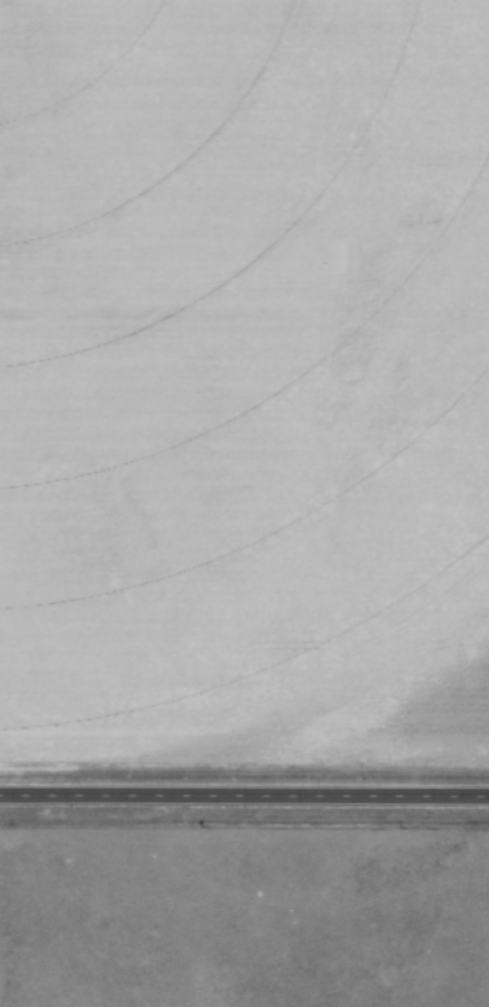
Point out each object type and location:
road: (244, 796)

